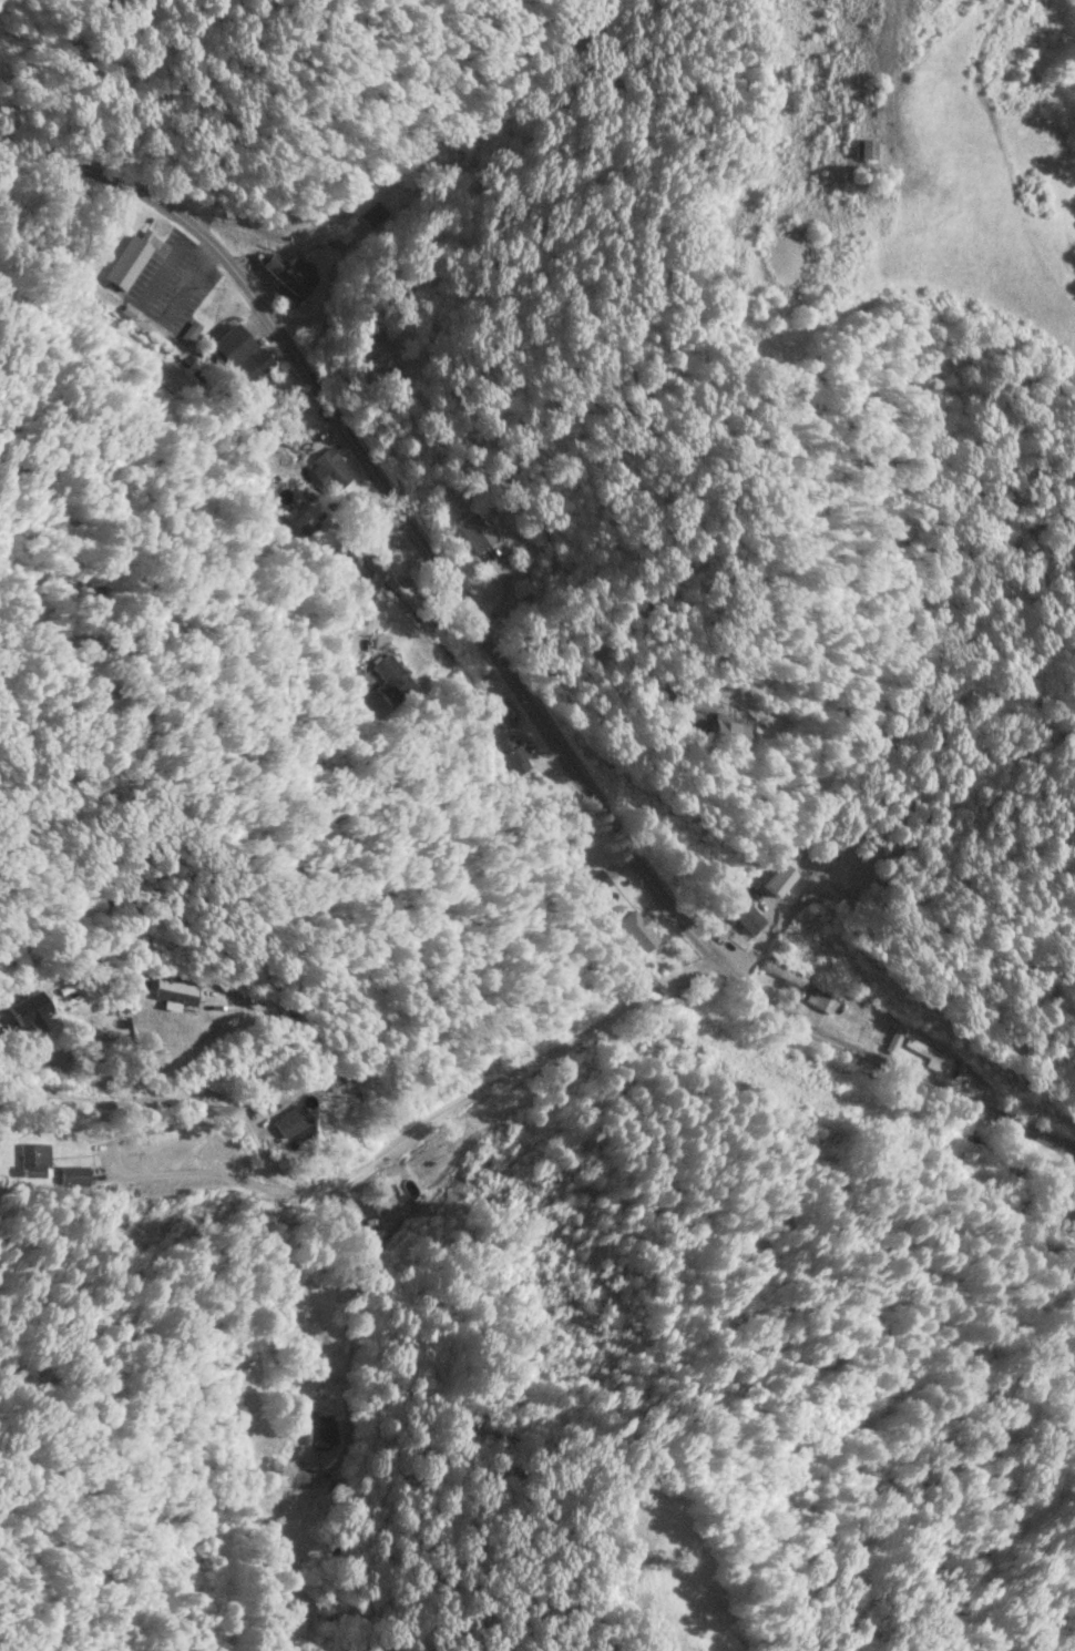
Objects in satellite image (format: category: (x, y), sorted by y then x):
building: (867, 149)
building: (127, 263)
building: (290, 275)
building: (228, 347)
building: (256, 365)
building: (395, 381)
building: (335, 469)
building: (474, 532)
building: (341, 557)
road: (603, 660)
road: (508, 671)
building: (393, 677)
building: (504, 714)
building: (729, 734)
building: (514, 755)
building: (778, 880)
building: (596, 883)
building: (745, 916)
building: (636, 929)
building: (785, 975)
building: (175, 992)
building: (823, 998)
building: (27, 1010)
building: (675, 1032)
building: (928, 1052)
road: (355, 1135)
building: (458, 1144)
building: (37, 1160)
building: (75, 1176)
building: (1072, 1226)
road: (337, 1306)
building: (320, 1431)

